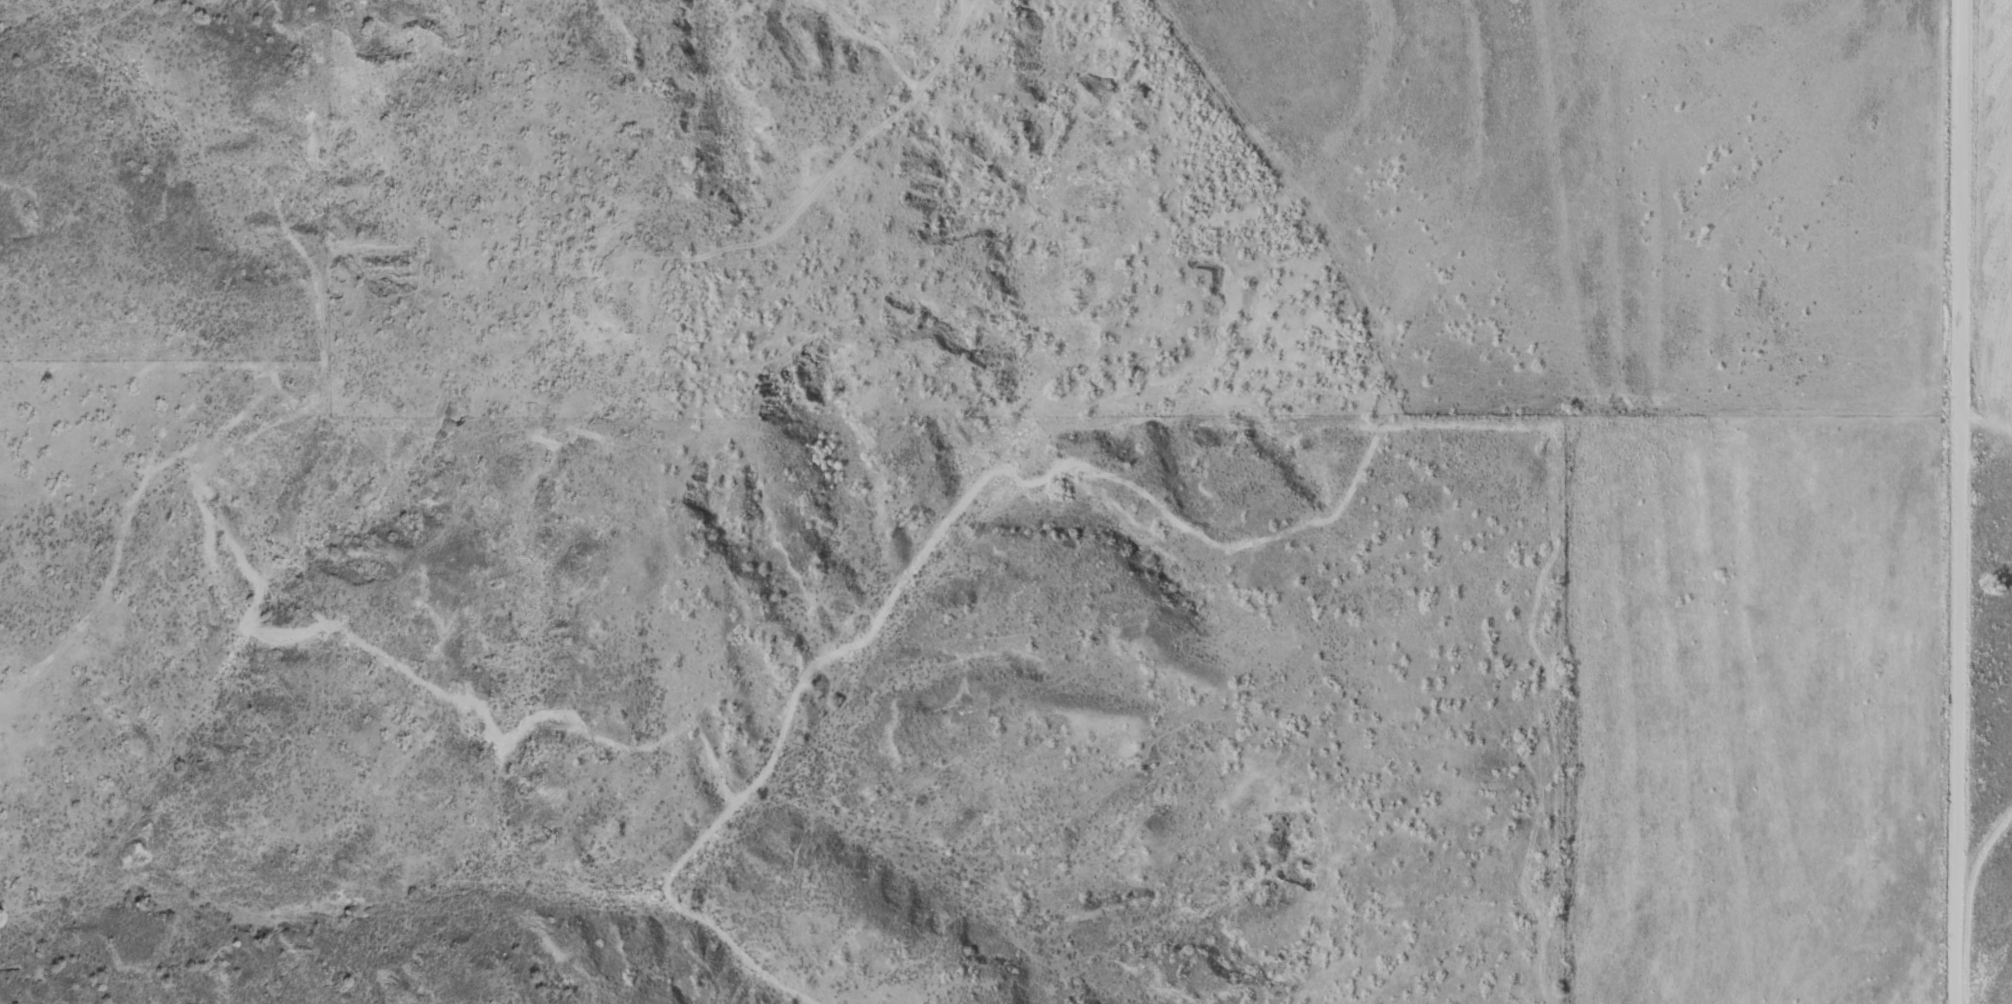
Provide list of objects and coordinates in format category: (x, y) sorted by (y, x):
road: (1960, 501)

